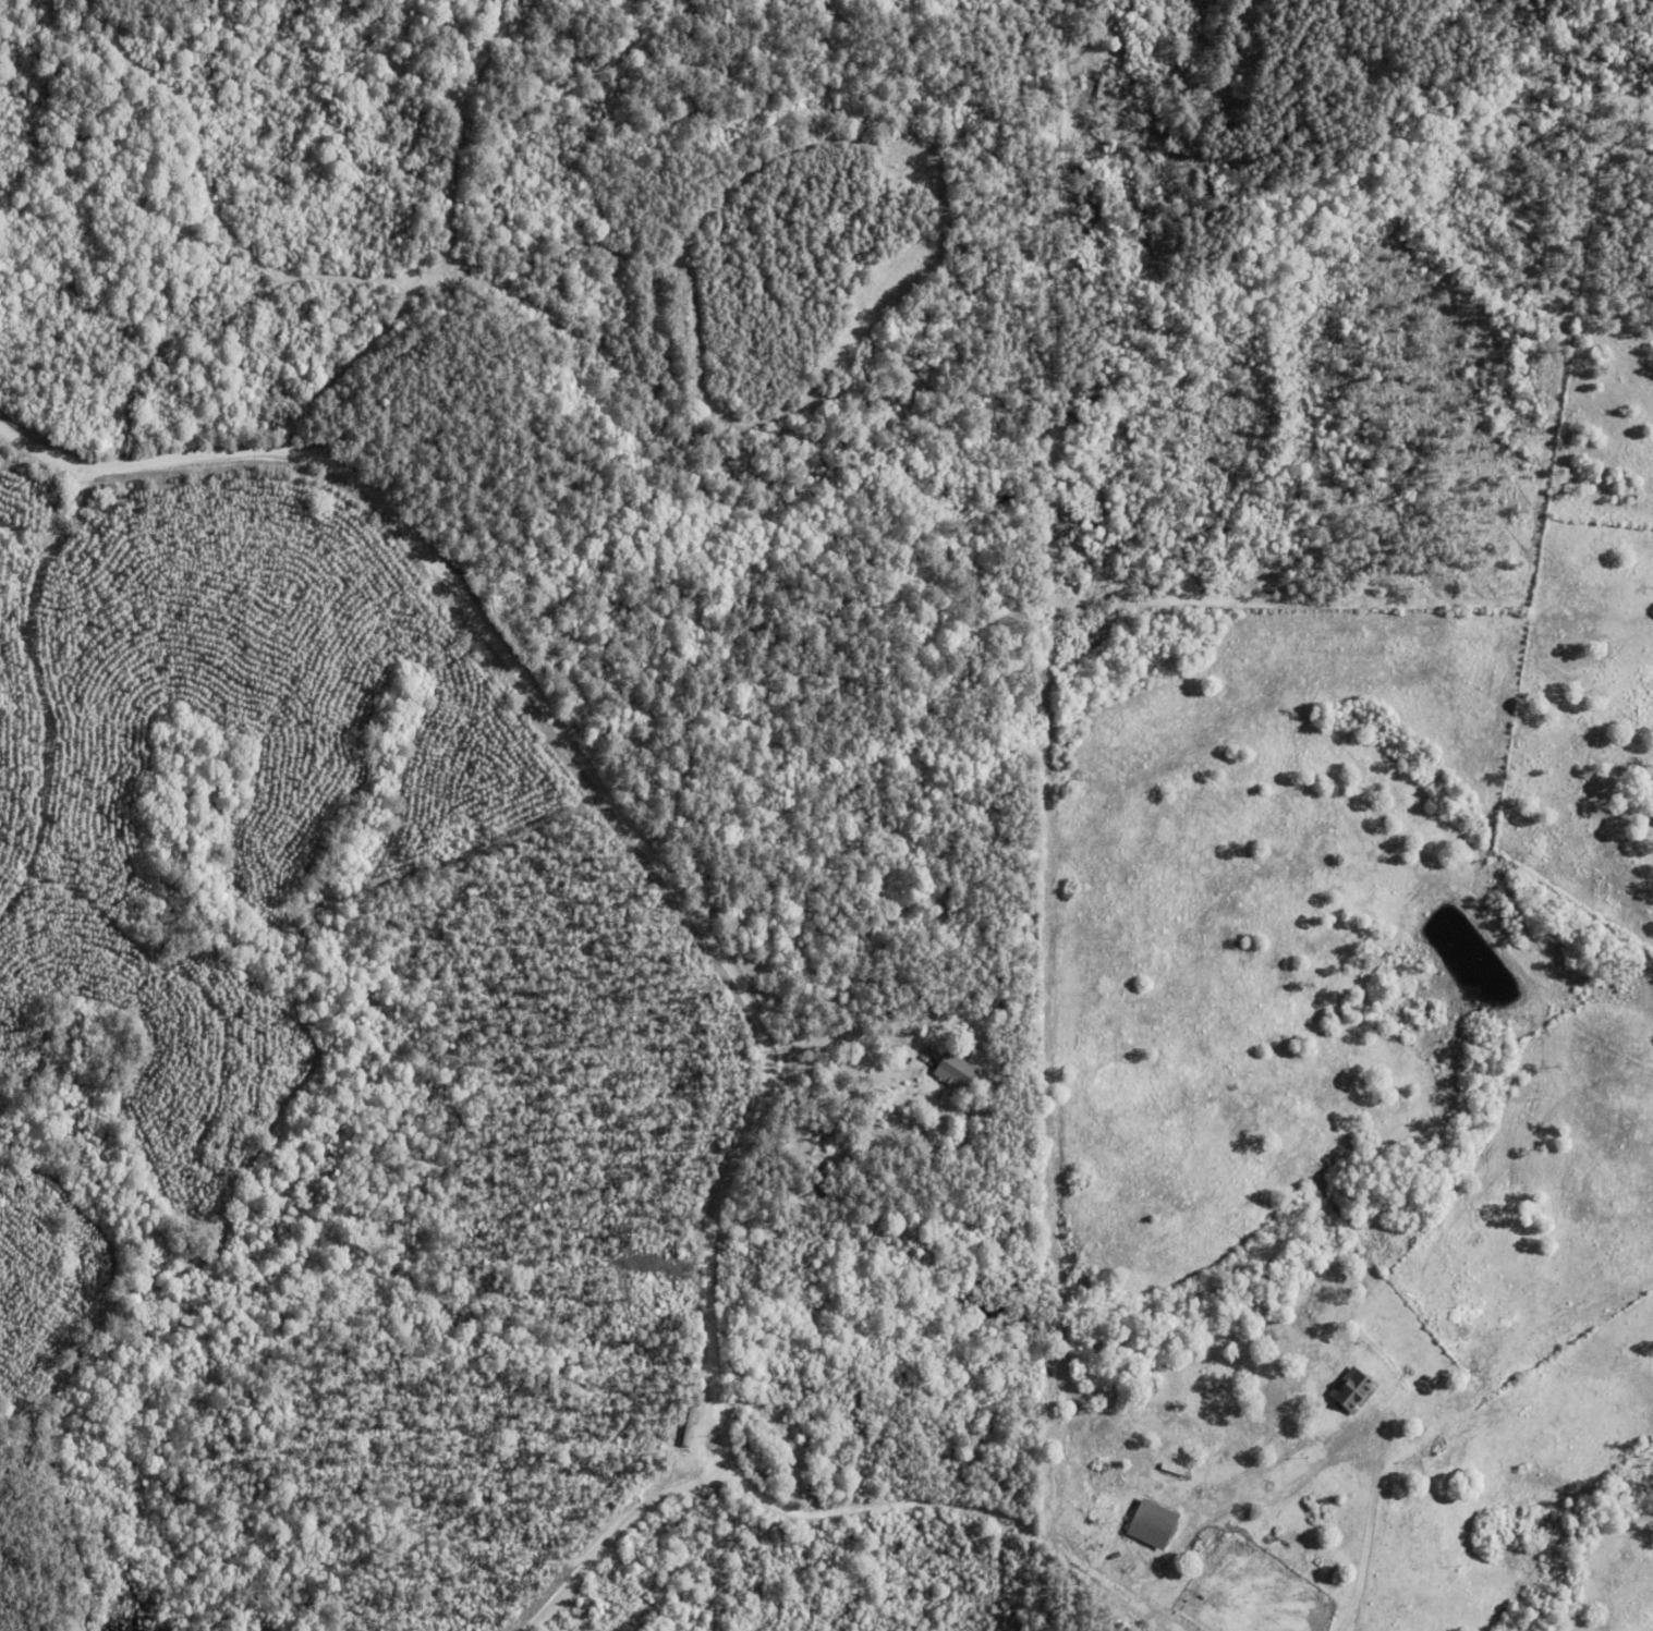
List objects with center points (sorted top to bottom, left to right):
road: (670, 878)
building: (955, 1070)
building: (1351, 1390)
building: (1152, 1523)

